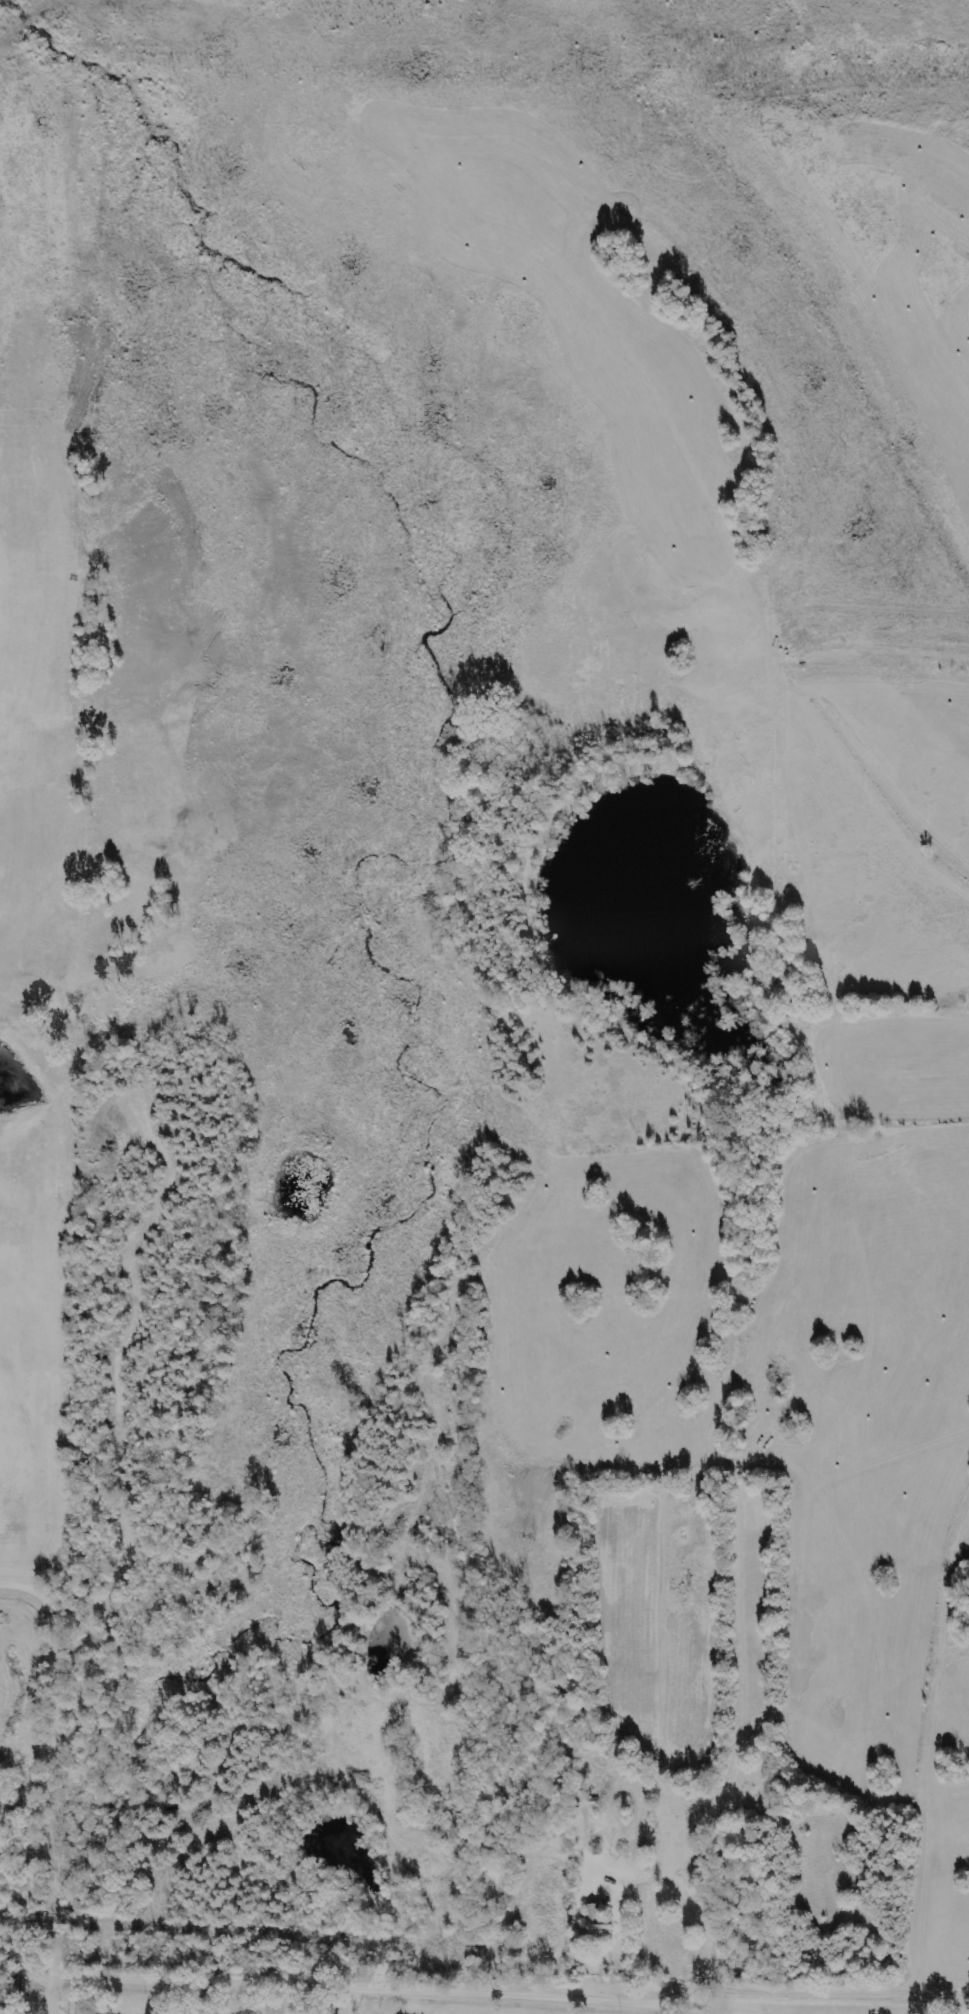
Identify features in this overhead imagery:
road: (70, 1757)
building: (598, 1920)

